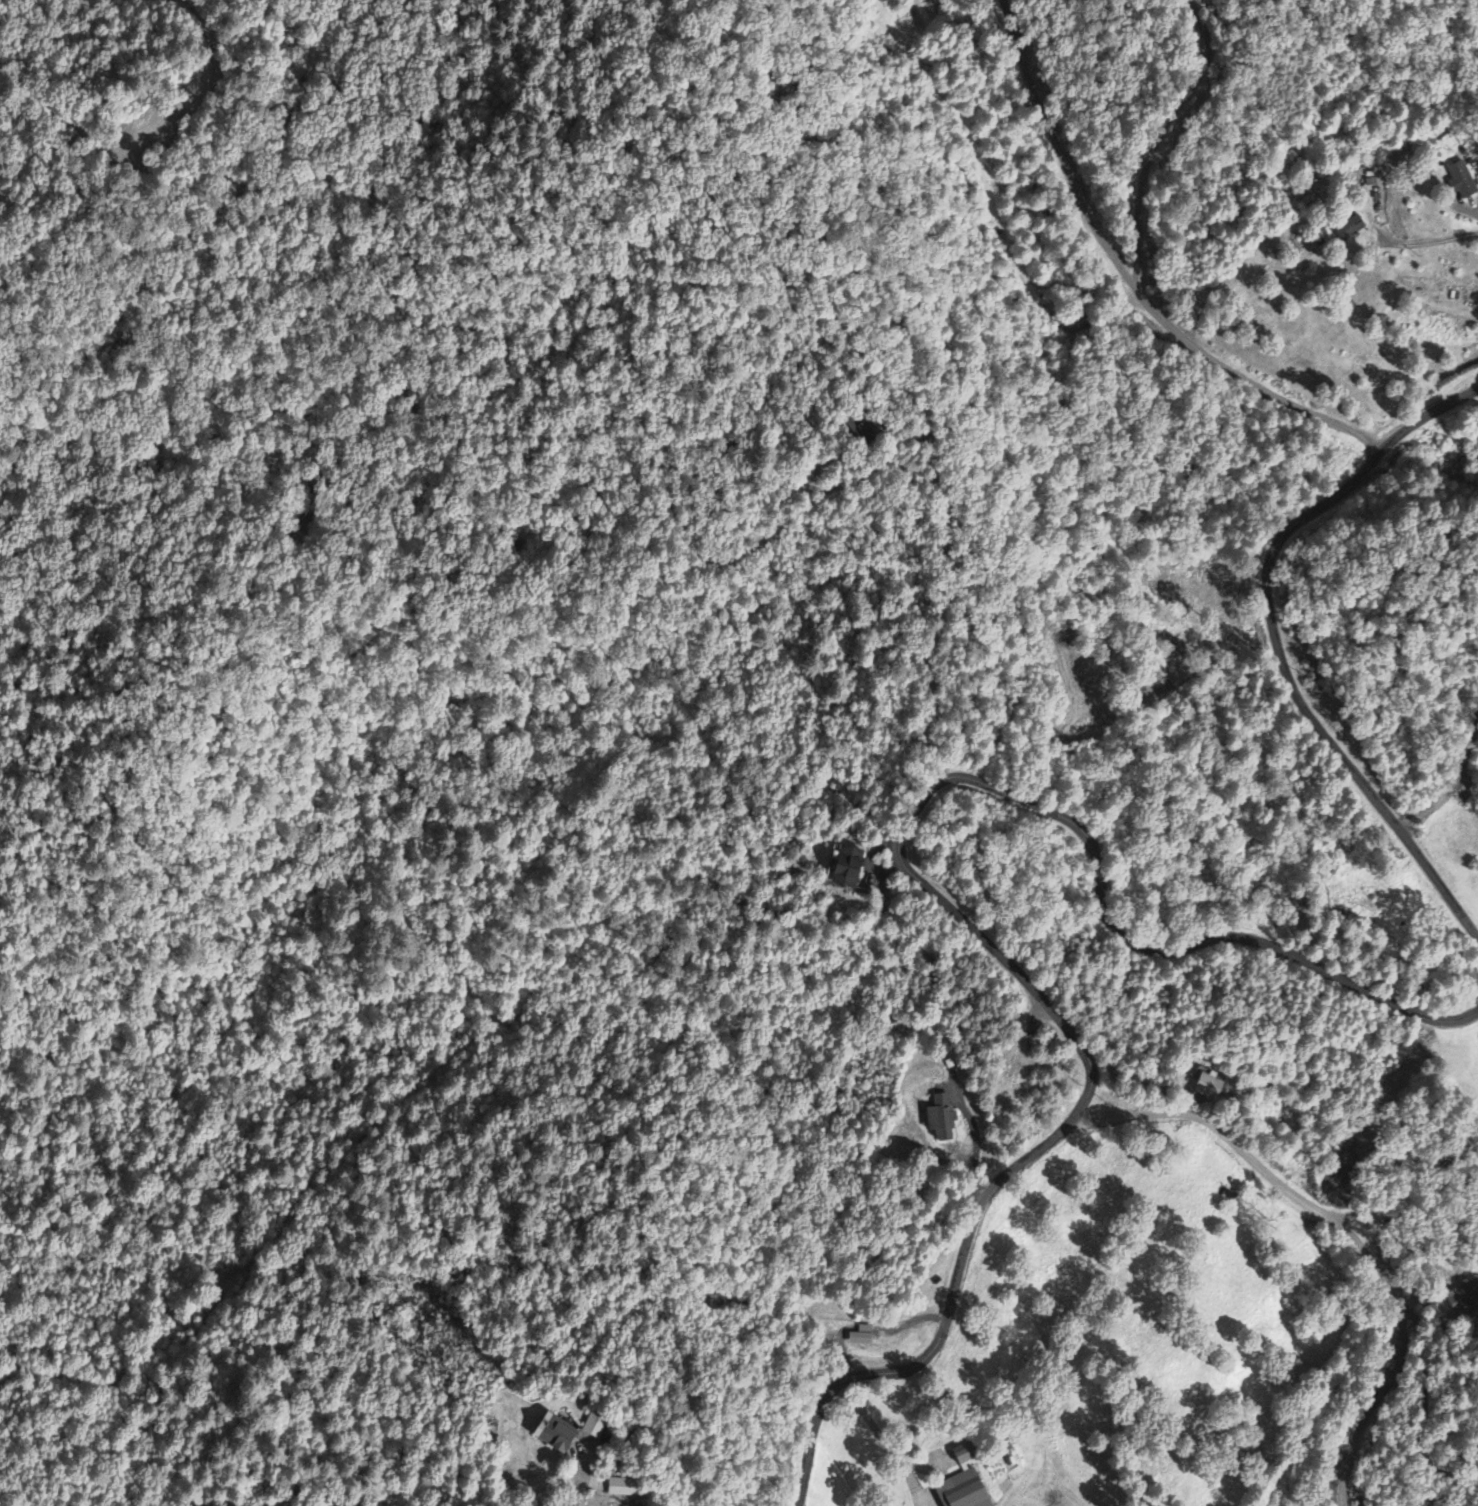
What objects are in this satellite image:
road: (1176, 133)
building: (1459, 180)
building: (1348, 228)
road: (1134, 279)
road: (1276, 645)
building: (843, 867)
road: (968, 931)
road: (1468, 950)
building: (1205, 1087)
building: (938, 1120)
road: (945, 1329)
building: (593, 1427)
building: (551, 1434)
building: (619, 1489)
building: (959, 1491)

